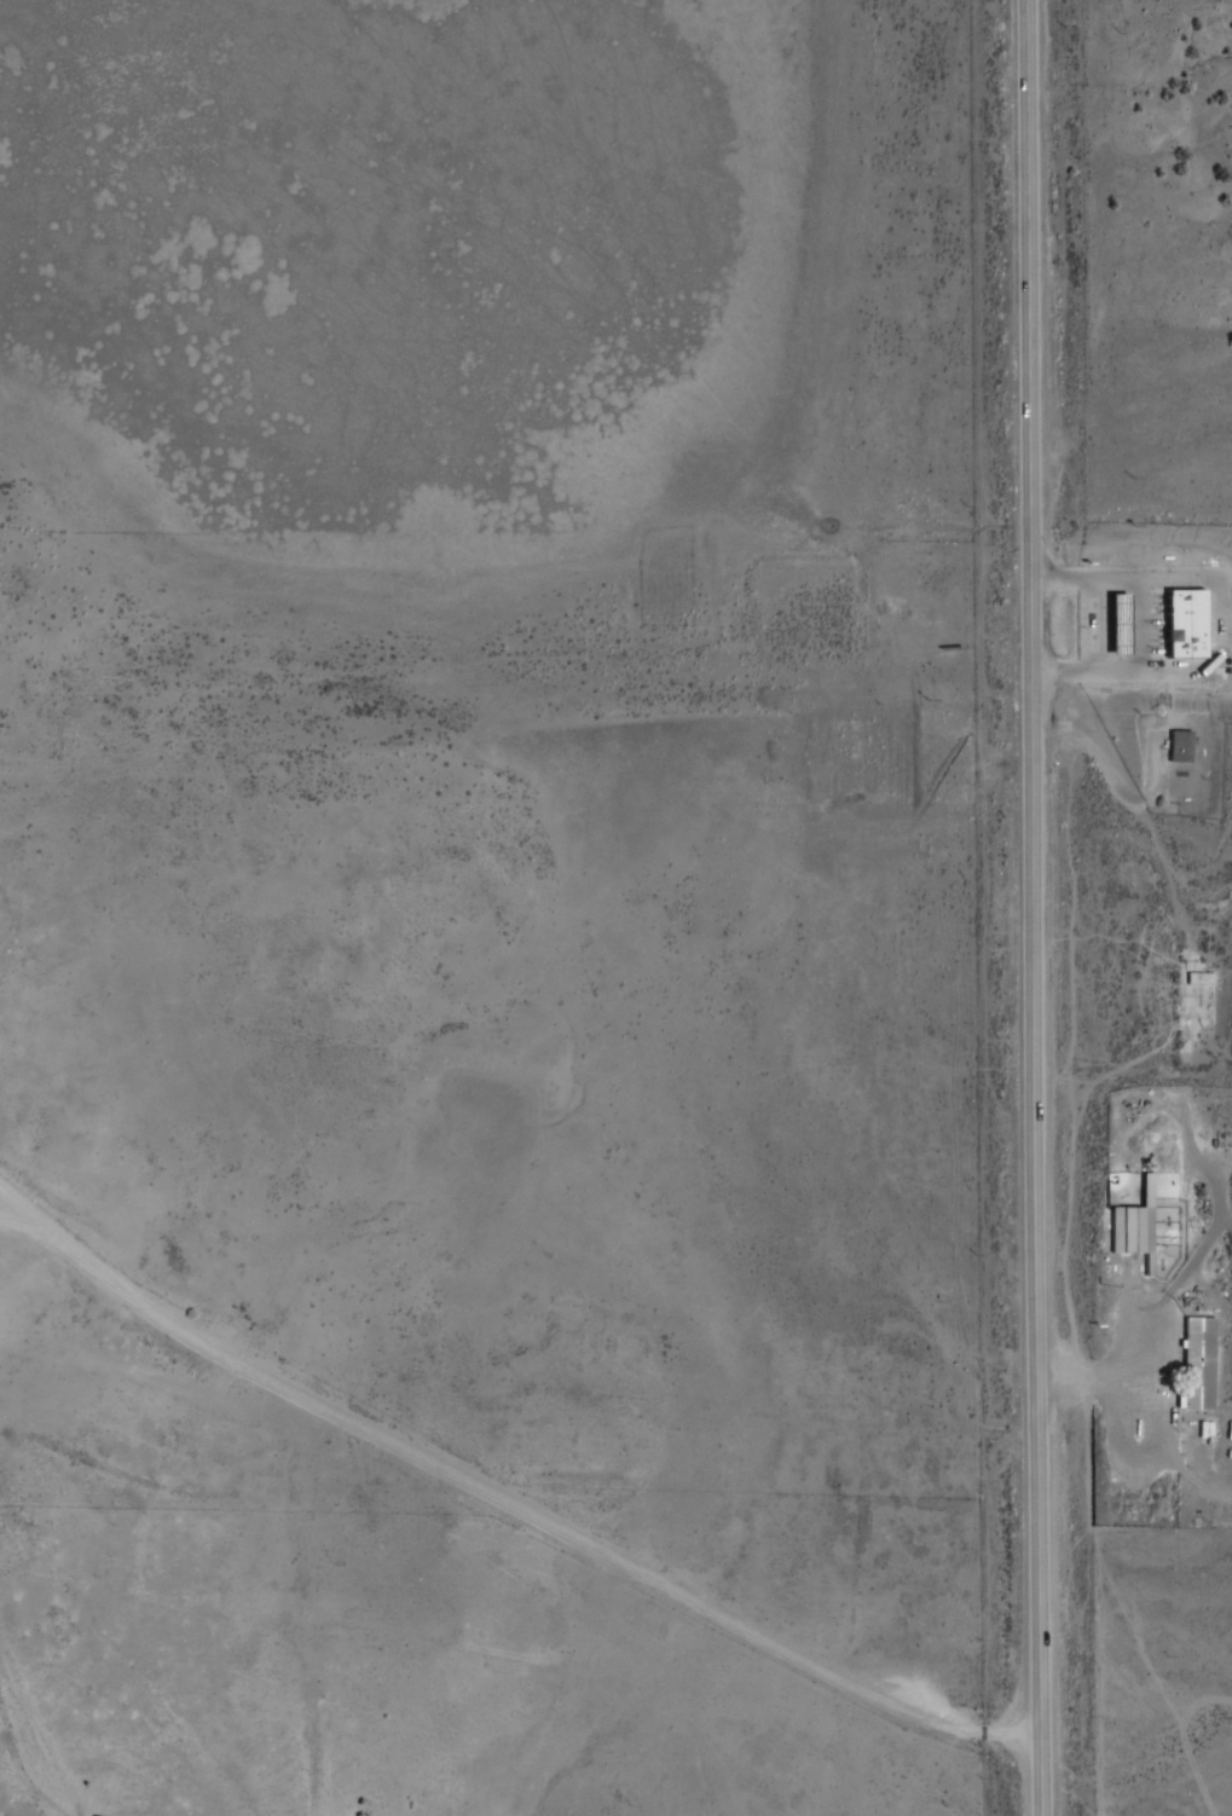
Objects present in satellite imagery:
building: (1187, 624)
building: (1122, 627)
building: (1181, 746)
road: (1035, 908)
building: (1136, 1227)
road: (169, 1323)
building: (1199, 1364)
road: (179, 1384)
road: (694, 1598)

